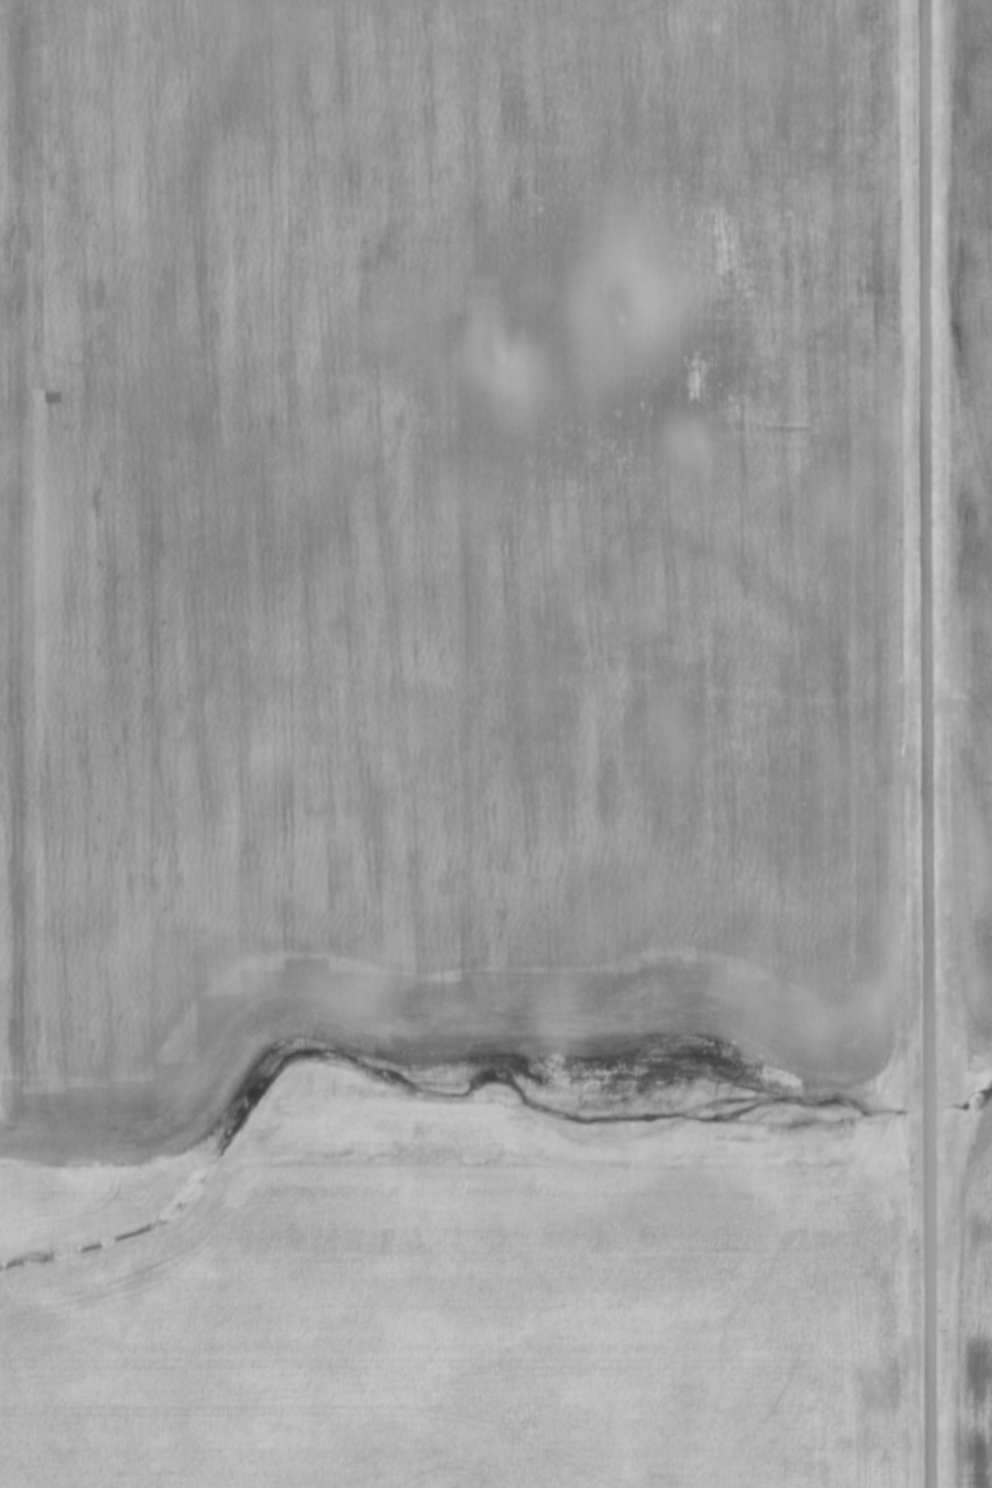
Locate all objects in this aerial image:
road: (934, 743)

